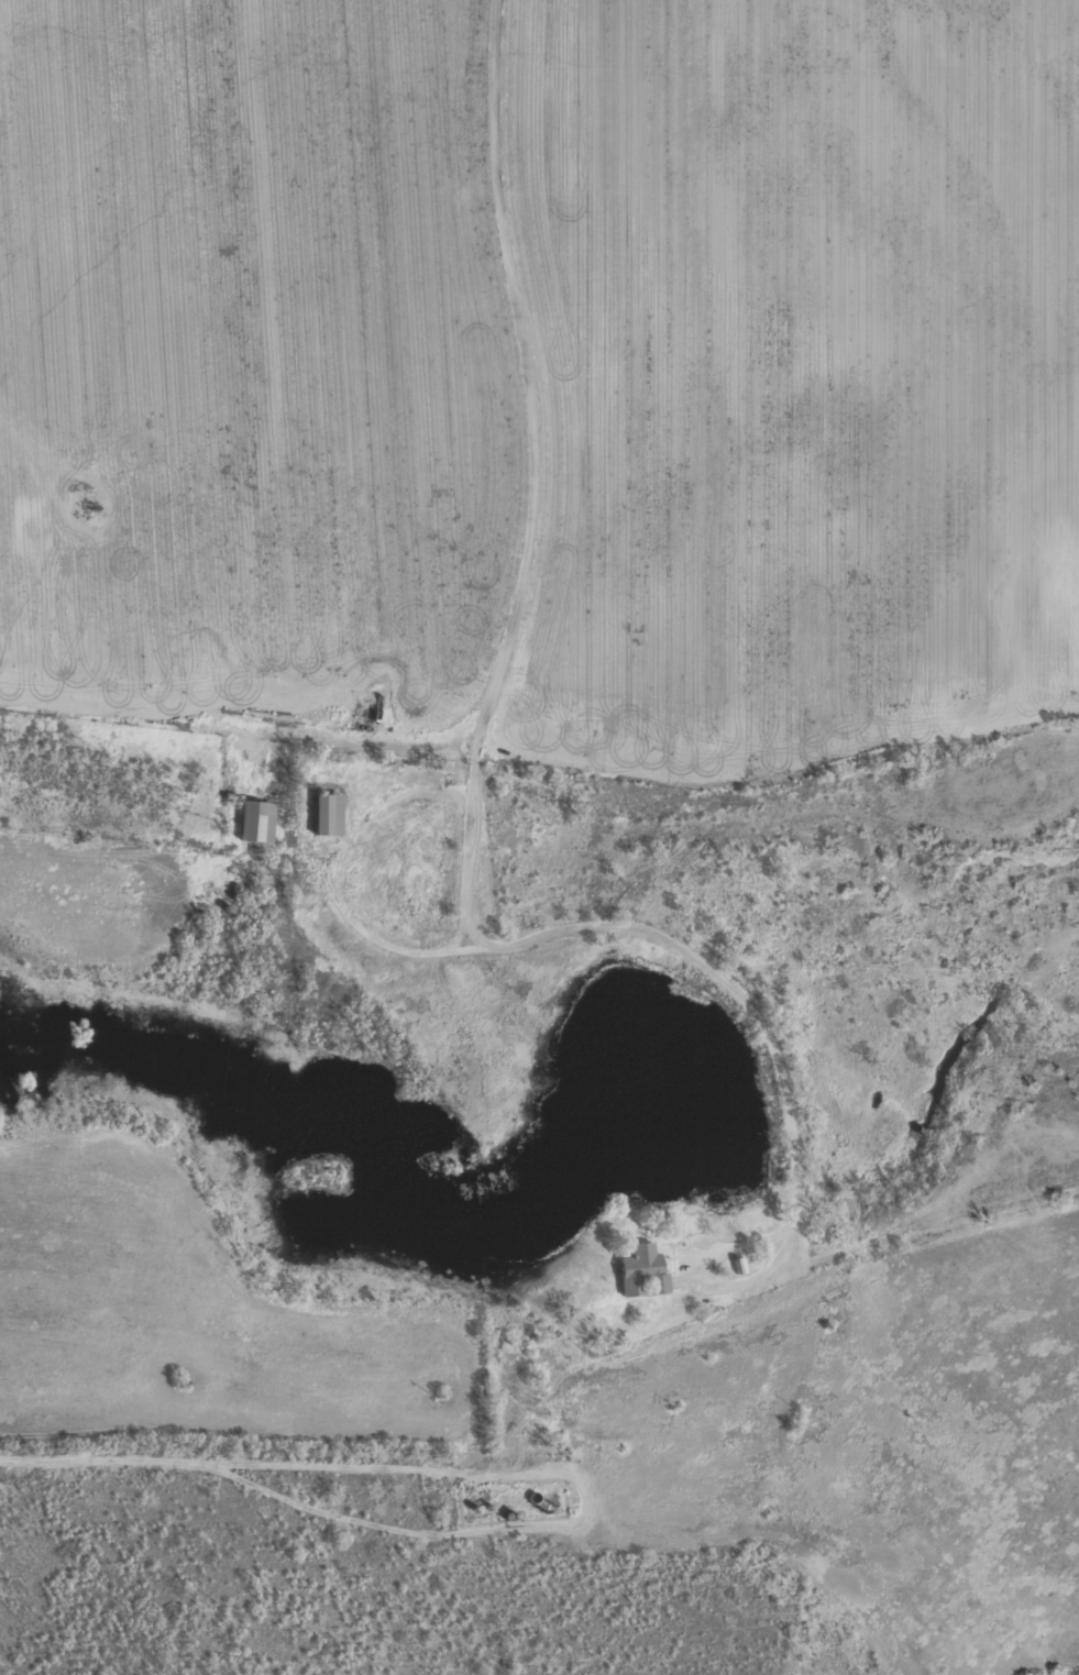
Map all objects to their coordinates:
building: (328, 814)
building: (257, 820)
road: (711, 976)
road: (692, 1298)
road: (527, 1478)

